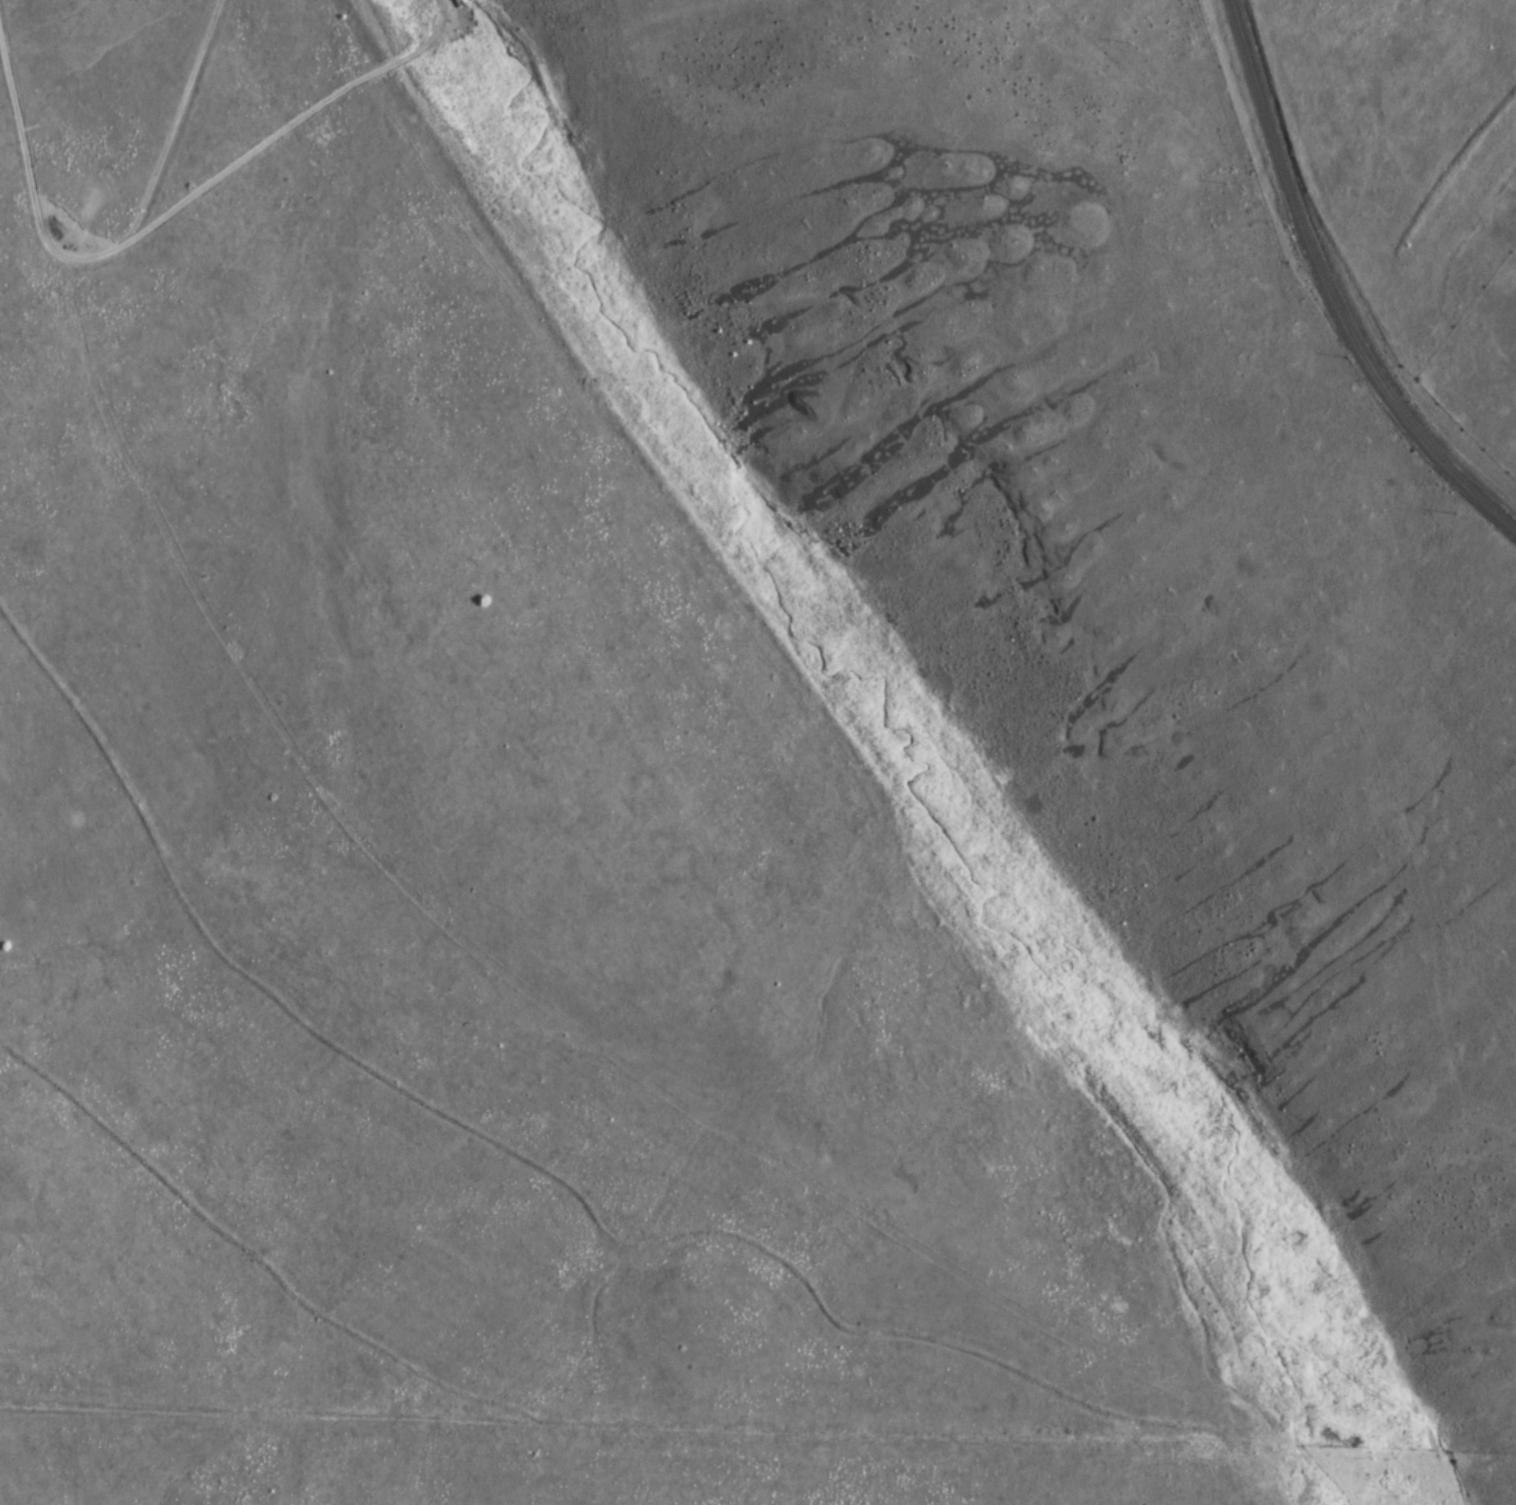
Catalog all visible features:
road: (1334, 283)

